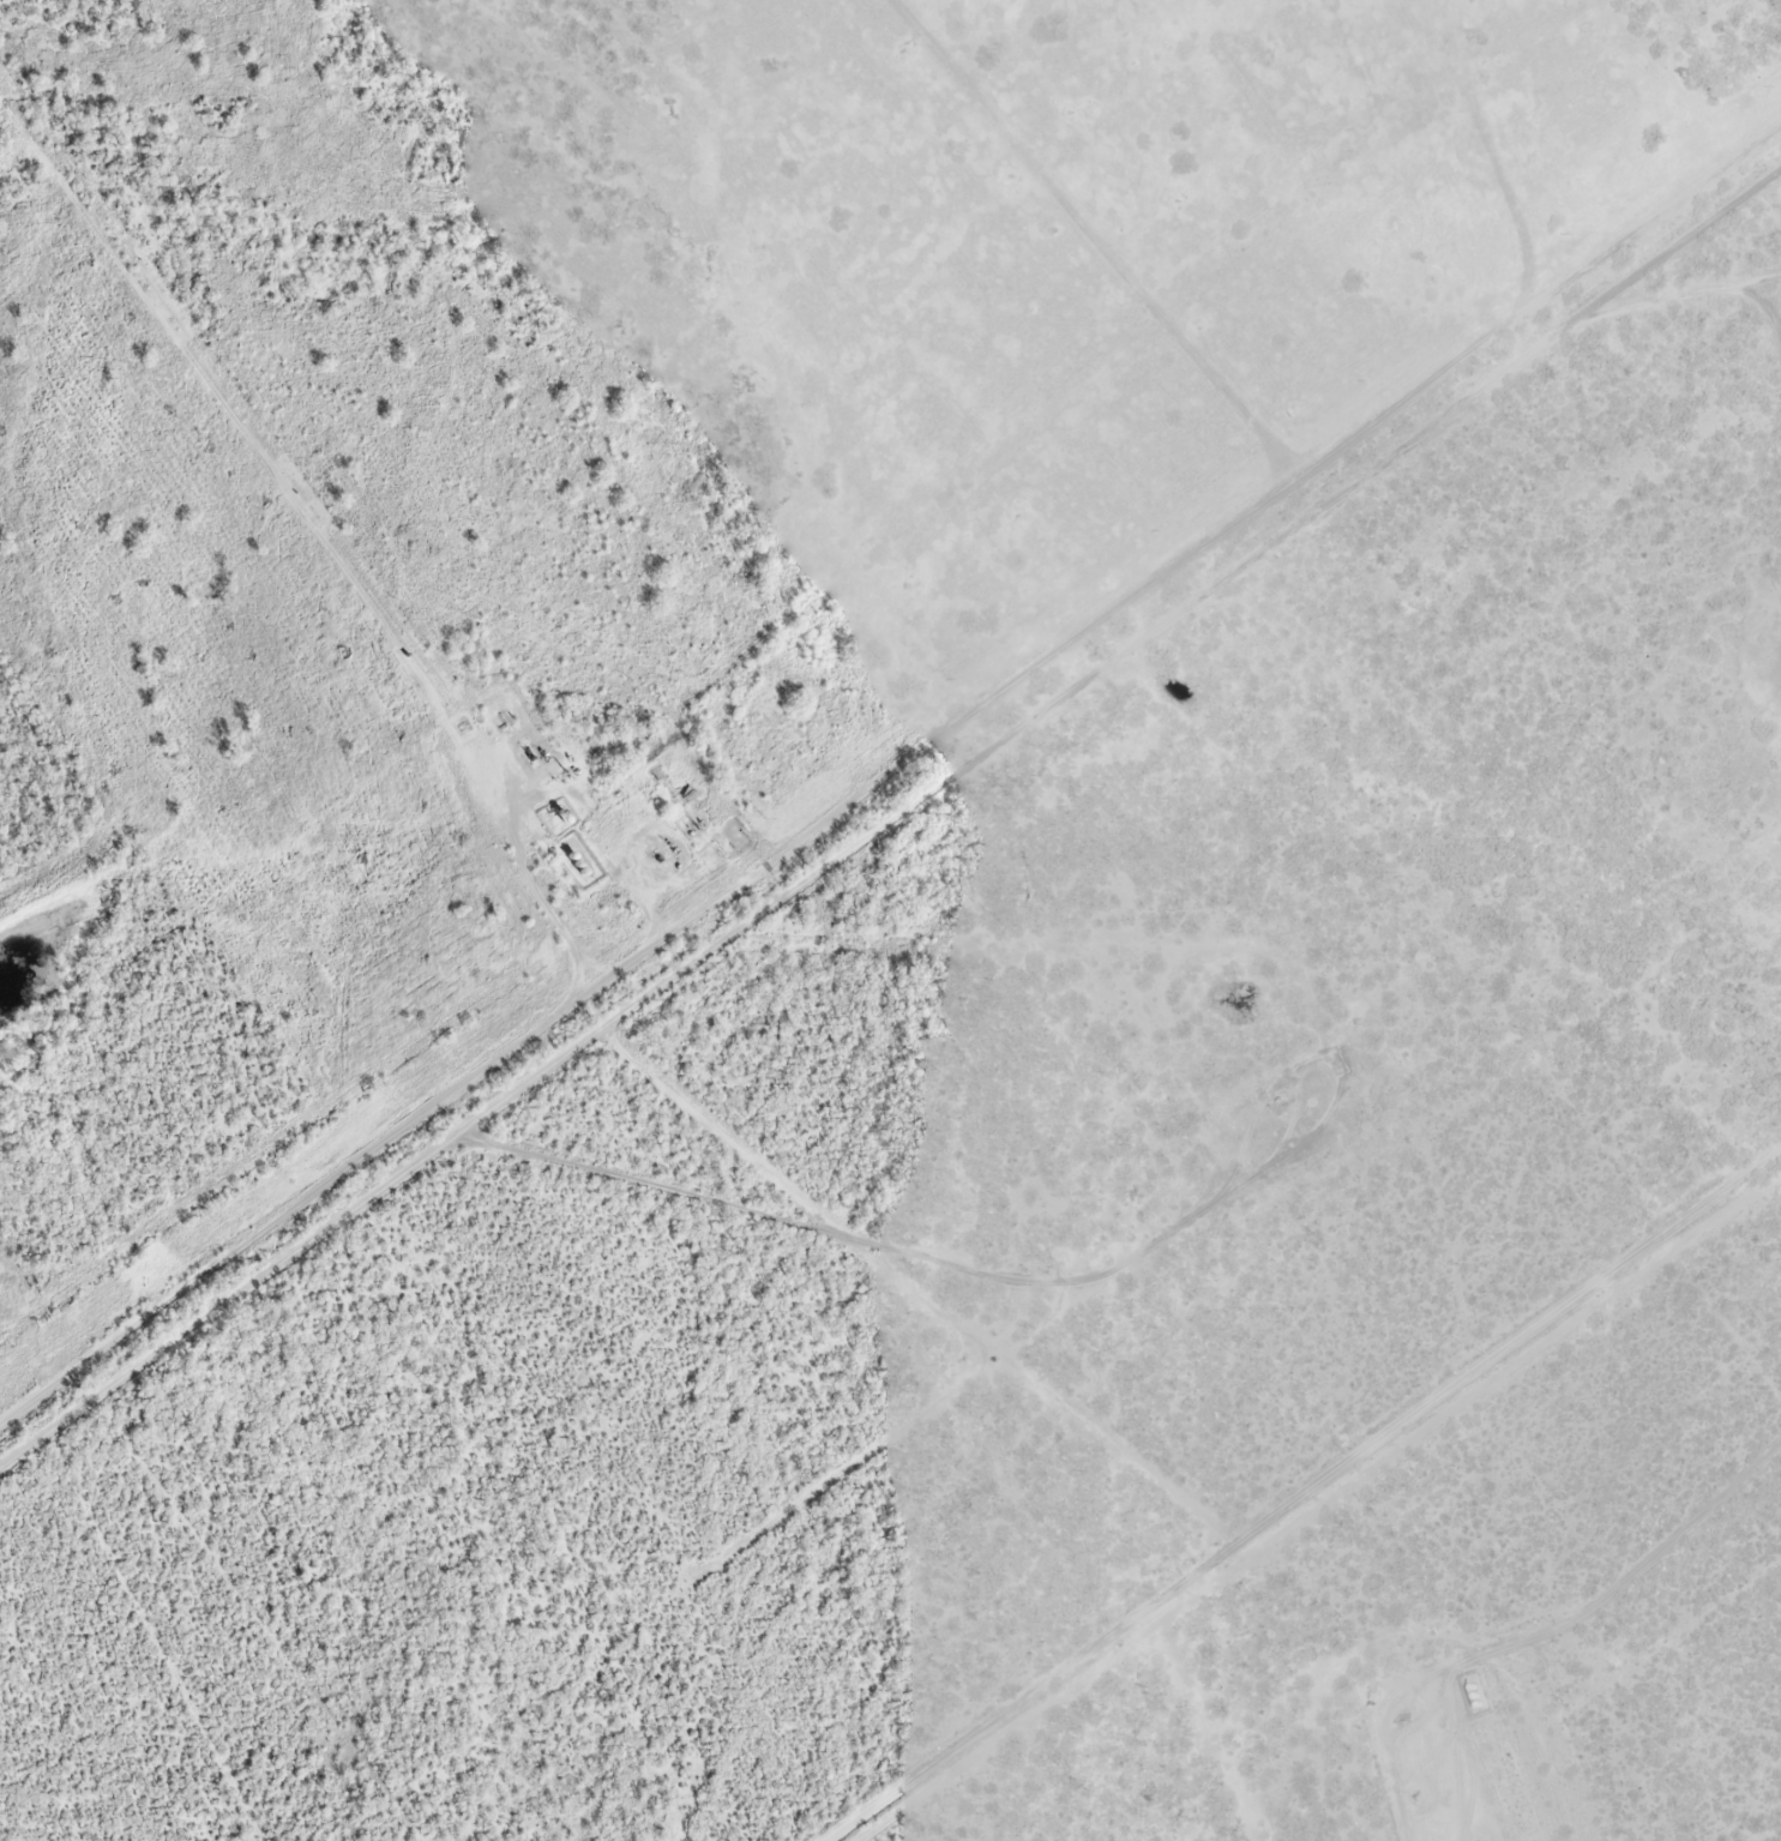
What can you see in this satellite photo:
road: (895, 751)
road: (878, 870)

